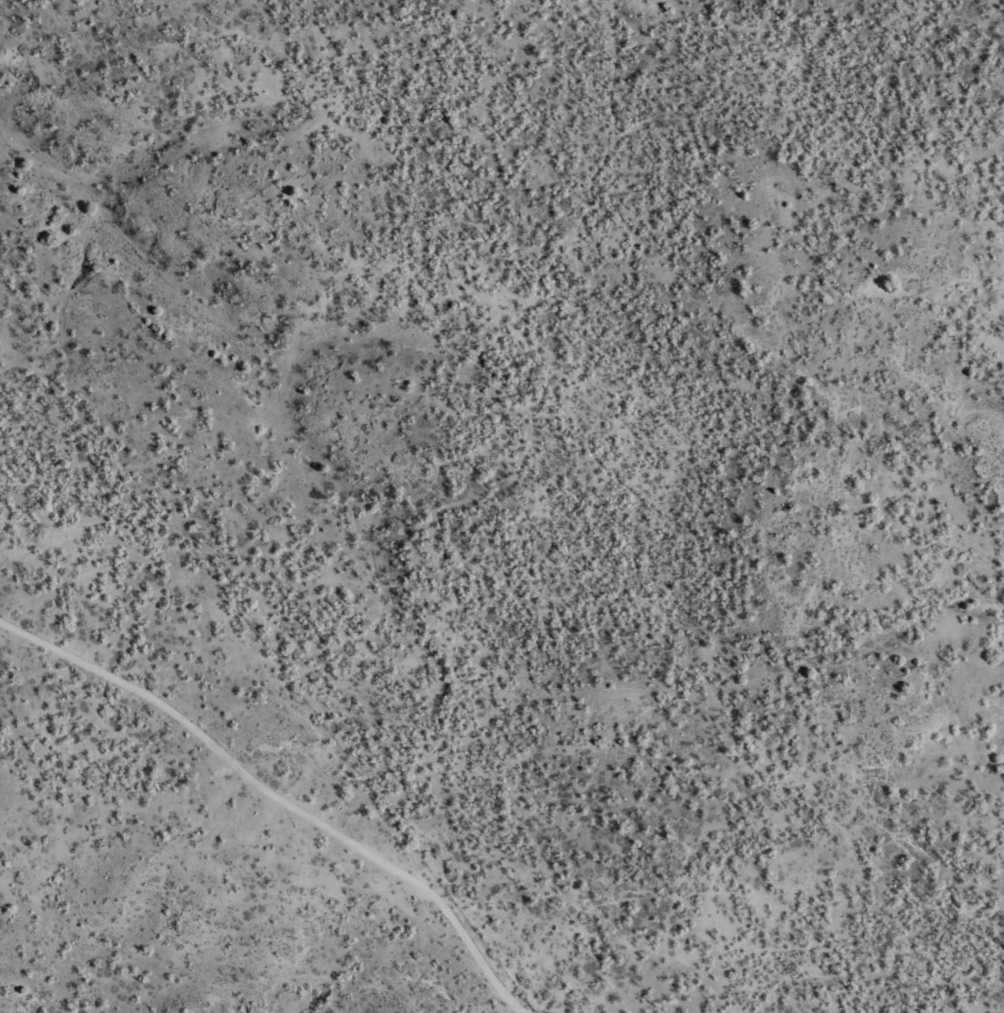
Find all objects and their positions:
road: (283, 798)

